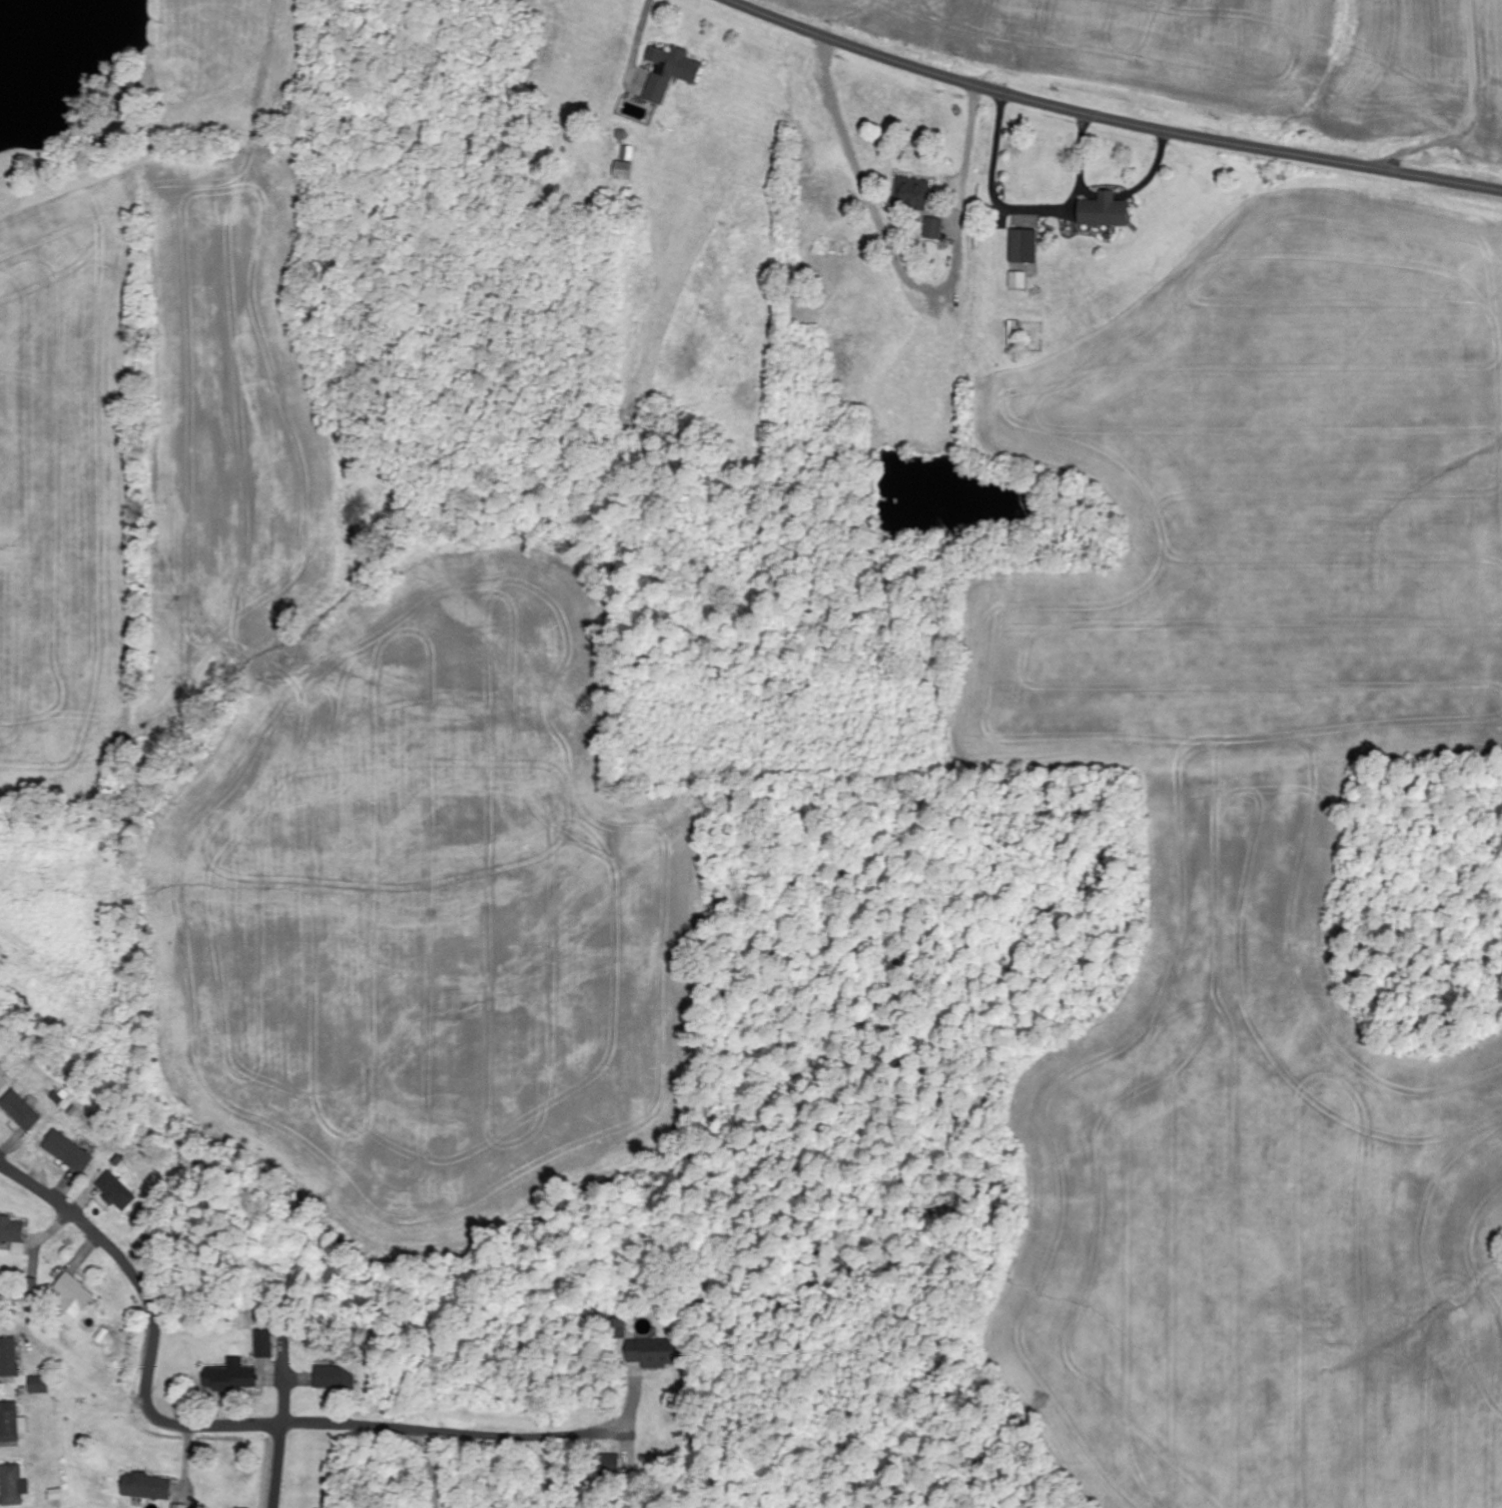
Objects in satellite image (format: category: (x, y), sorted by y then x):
crop: (1241, 55)
building: (670, 72)
road: (1109, 118)
building: (625, 169)
building: (913, 194)
building: (1105, 211)
building: (933, 229)
building: (1024, 246)
building: (1018, 281)
building: (1, 1064)
building: (1, 1082)
building: (21, 1111)
building: (70, 1153)
building: (118, 1189)
building: (12, 1231)
building: (74, 1296)
road: (157, 1316)
building: (263, 1344)
building: (662, 1356)
building: (9, 1358)
building: (230, 1377)
building: (336, 1379)
building: (40, 1386)
building: (11, 1424)
road: (454, 1431)
road: (279, 1466)
building: (612, 1466)
building: (13, 1486)
building: (146, 1487)
building: (179, 1506)

